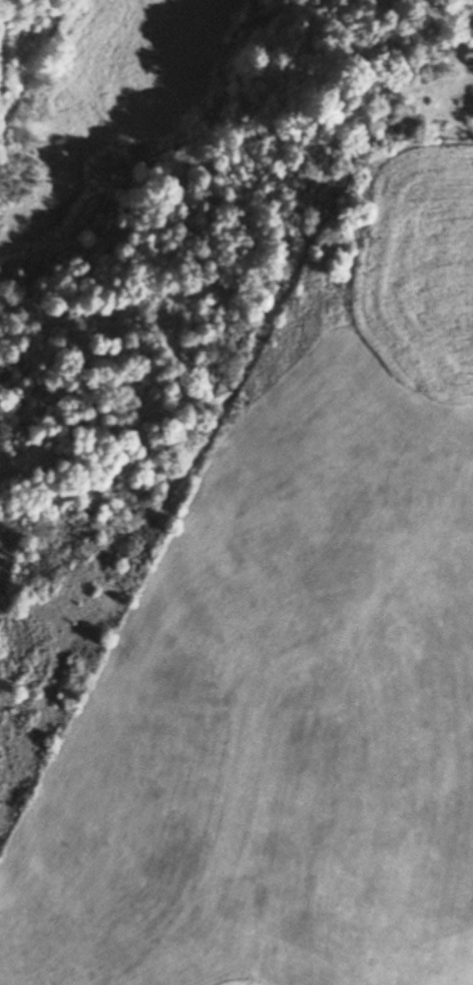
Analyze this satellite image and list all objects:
crop: (290, 658)

